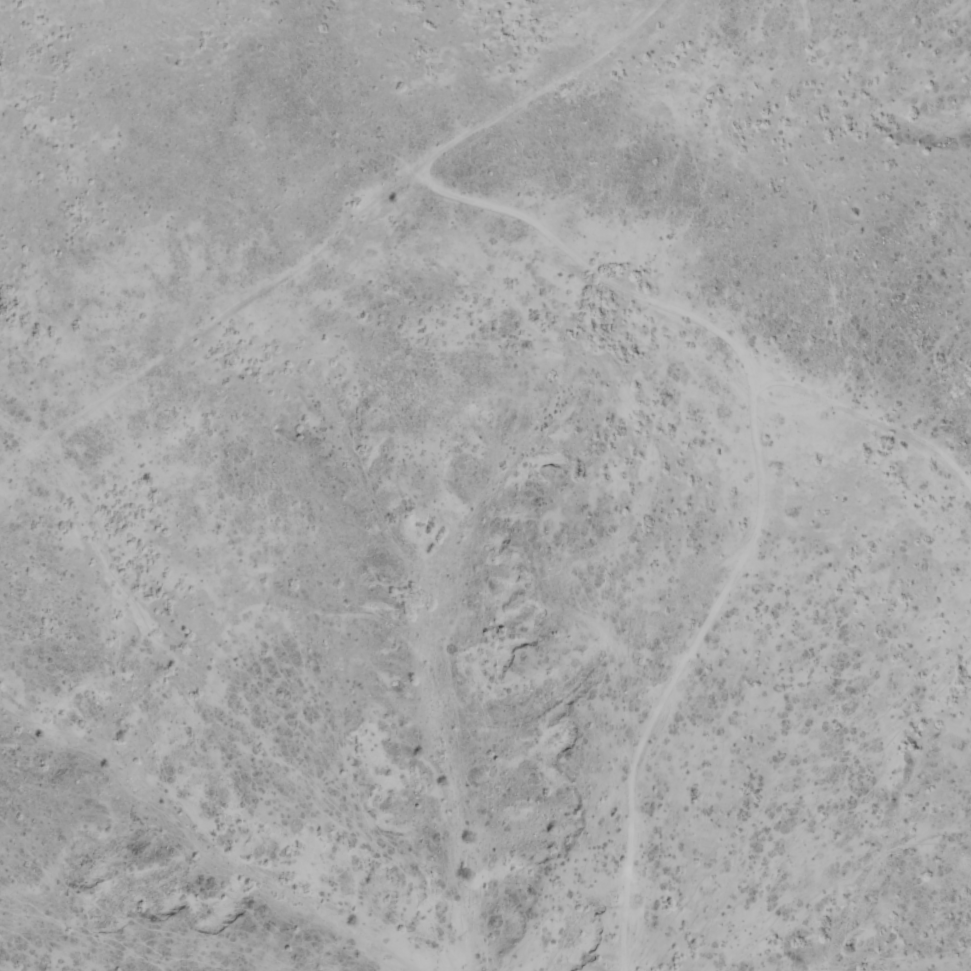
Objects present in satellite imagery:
road: (328, 247)

